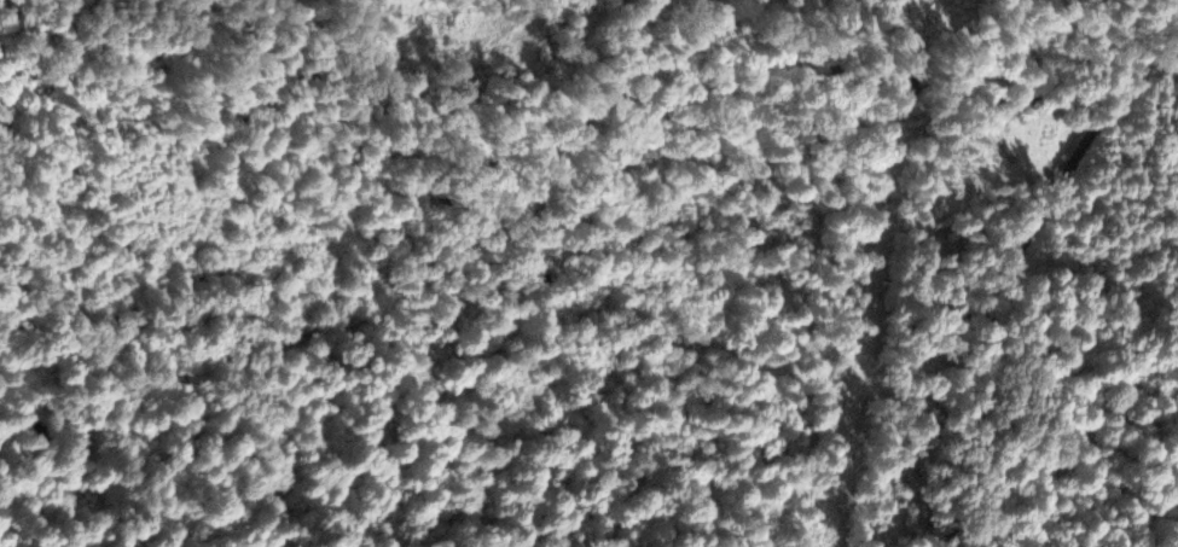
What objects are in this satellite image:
road: (1010, 254)

